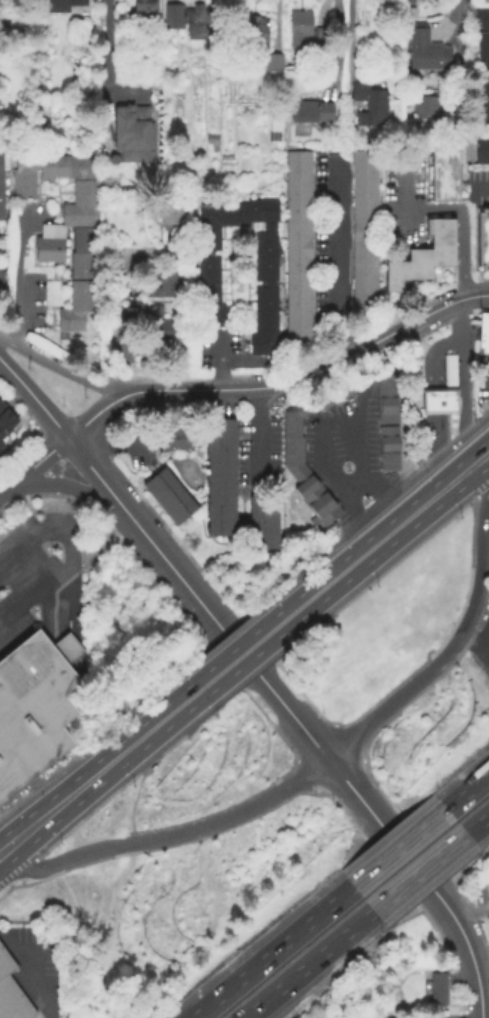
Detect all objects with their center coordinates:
building: (408, 0)
building: (63, 5)
building: (144, 7)
building: (186, 18)
road: (449, 23)
building: (251, 31)
building: (306, 31)
road: (350, 36)
road: (461, 44)
road: (337, 46)
building: (424, 47)
road: (106, 59)
building: (272, 60)
building: (480, 64)
building: (368, 102)
building: (426, 104)
building: (310, 109)
building: (274, 119)
building: (132, 131)
building: (210, 137)
building: (482, 148)
building: (225, 159)
building: (444, 174)
building: (1, 186)
road: (480, 187)
road: (405, 208)
building: (171, 212)
building: (63, 224)
building: (363, 228)
building: (482, 237)
building: (298, 245)
building: (422, 255)
road: (463, 255)
road: (336, 260)
building: (207, 267)
building: (0, 275)
road: (16, 277)
building: (167, 283)
road: (126, 290)
road: (476, 296)
road: (110, 303)
building: (165, 325)
road: (122, 326)
building: (484, 331)
road: (429, 353)
road: (222, 359)
building: (140, 361)
road: (63, 369)
building: (449, 372)
road: (215, 374)
road: (304, 378)
road: (463, 387)
road: (35, 398)
road: (430, 404)
building: (440, 404)
road: (97, 415)
building: (6, 418)
road: (334, 422)
road: (483, 422)
building: (387, 423)
road: (258, 435)
building: (166, 437)
building: (183, 437)
road: (109, 439)
building: (1, 444)
building: (293, 453)
road: (433, 457)
road: (34, 466)
road: (97, 474)
building: (219, 475)
road: (68, 485)
road: (351, 485)
building: (168, 494)
building: (262, 519)
road: (65, 532)
road: (392, 533)
road: (485, 547)
road: (34, 593)
road: (474, 650)
road: (245, 653)
road: (253, 668)
building: (34, 706)
road: (124, 753)
road: (327, 762)
road: (152, 763)
road: (465, 788)
road: (136, 795)
road: (23, 820)
road: (477, 821)
road: (35, 840)
road: (396, 846)
road: (4, 867)
road: (417, 872)
road: (432, 890)
road: (270, 951)
road: (303, 965)
road: (38, 975)
building: (440, 986)
road: (478, 988)
building: (11, 992)

